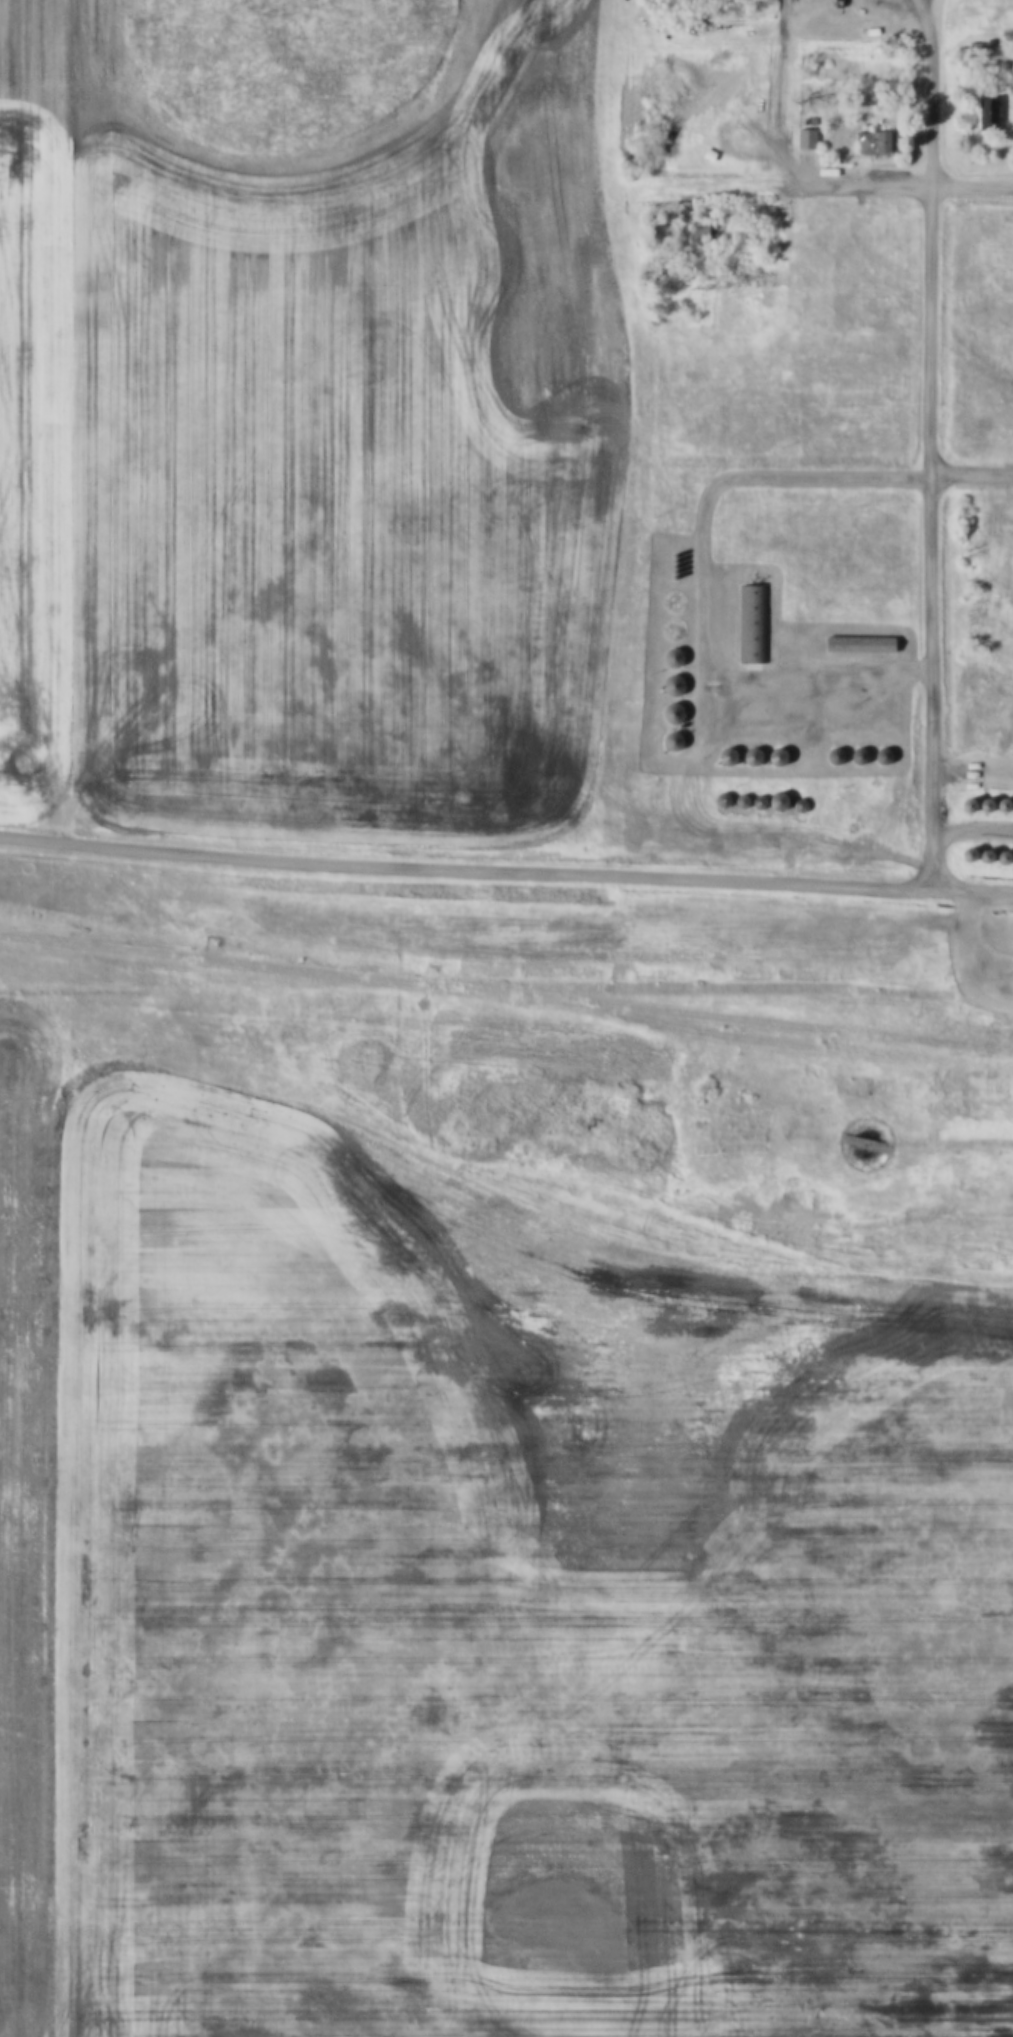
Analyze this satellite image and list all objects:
building: (982, 107)
building: (801, 137)
building: (870, 140)
road: (894, 183)
road: (933, 441)
road: (973, 469)
building: (669, 554)
silo: (669, 554)
building: (669, 560)
silo: (669, 560)
building: (668, 565)
silo: (668, 565)
building: (669, 571)
silo: (669, 571)
building: (669, 576)
silo: (669, 576)
road: (703, 579)
building: (748, 624)
building: (854, 644)
building: (668, 657)
silo: (668, 657)
building: (677, 659)
building: (668, 685)
silo: (668, 685)
building: (667, 713)
silo: (667, 713)
building: (677, 715)
building: (667, 741)
silo: (667, 741)
building: (722, 756)
silo: (722, 756)
building: (772, 756)
silo: (772, 756)
building: (829, 756)
silo: (829, 756)
building: (853, 756)
silo: (853, 756)
building: (877, 756)
silo: (877, 756)
building: (747, 757)
silo: (747, 757)
building: (717, 799)
silo: (717, 799)
building: (736, 800)
silo: (736, 800)
building: (773, 801)
silo: (773, 801)
building: (753, 802)
silo: (753, 802)
building: (981, 803)
silo: (981, 803)
building: (998, 803)
silo: (998, 803)
building: (1011, 803)
silo: (1011, 803)
building: (963, 804)
silo: (963, 804)
building: (795, 806)
silo: (795, 806)
road: (974, 825)
building: (963, 853)
silo: (963, 853)
building: (980, 855)
silo: (980, 855)
building: (998, 856)
silo: (998, 856)
building: (1010, 857)
silo: (1010, 857)
road: (468, 864)
road: (975, 886)
road: (971, 939)

